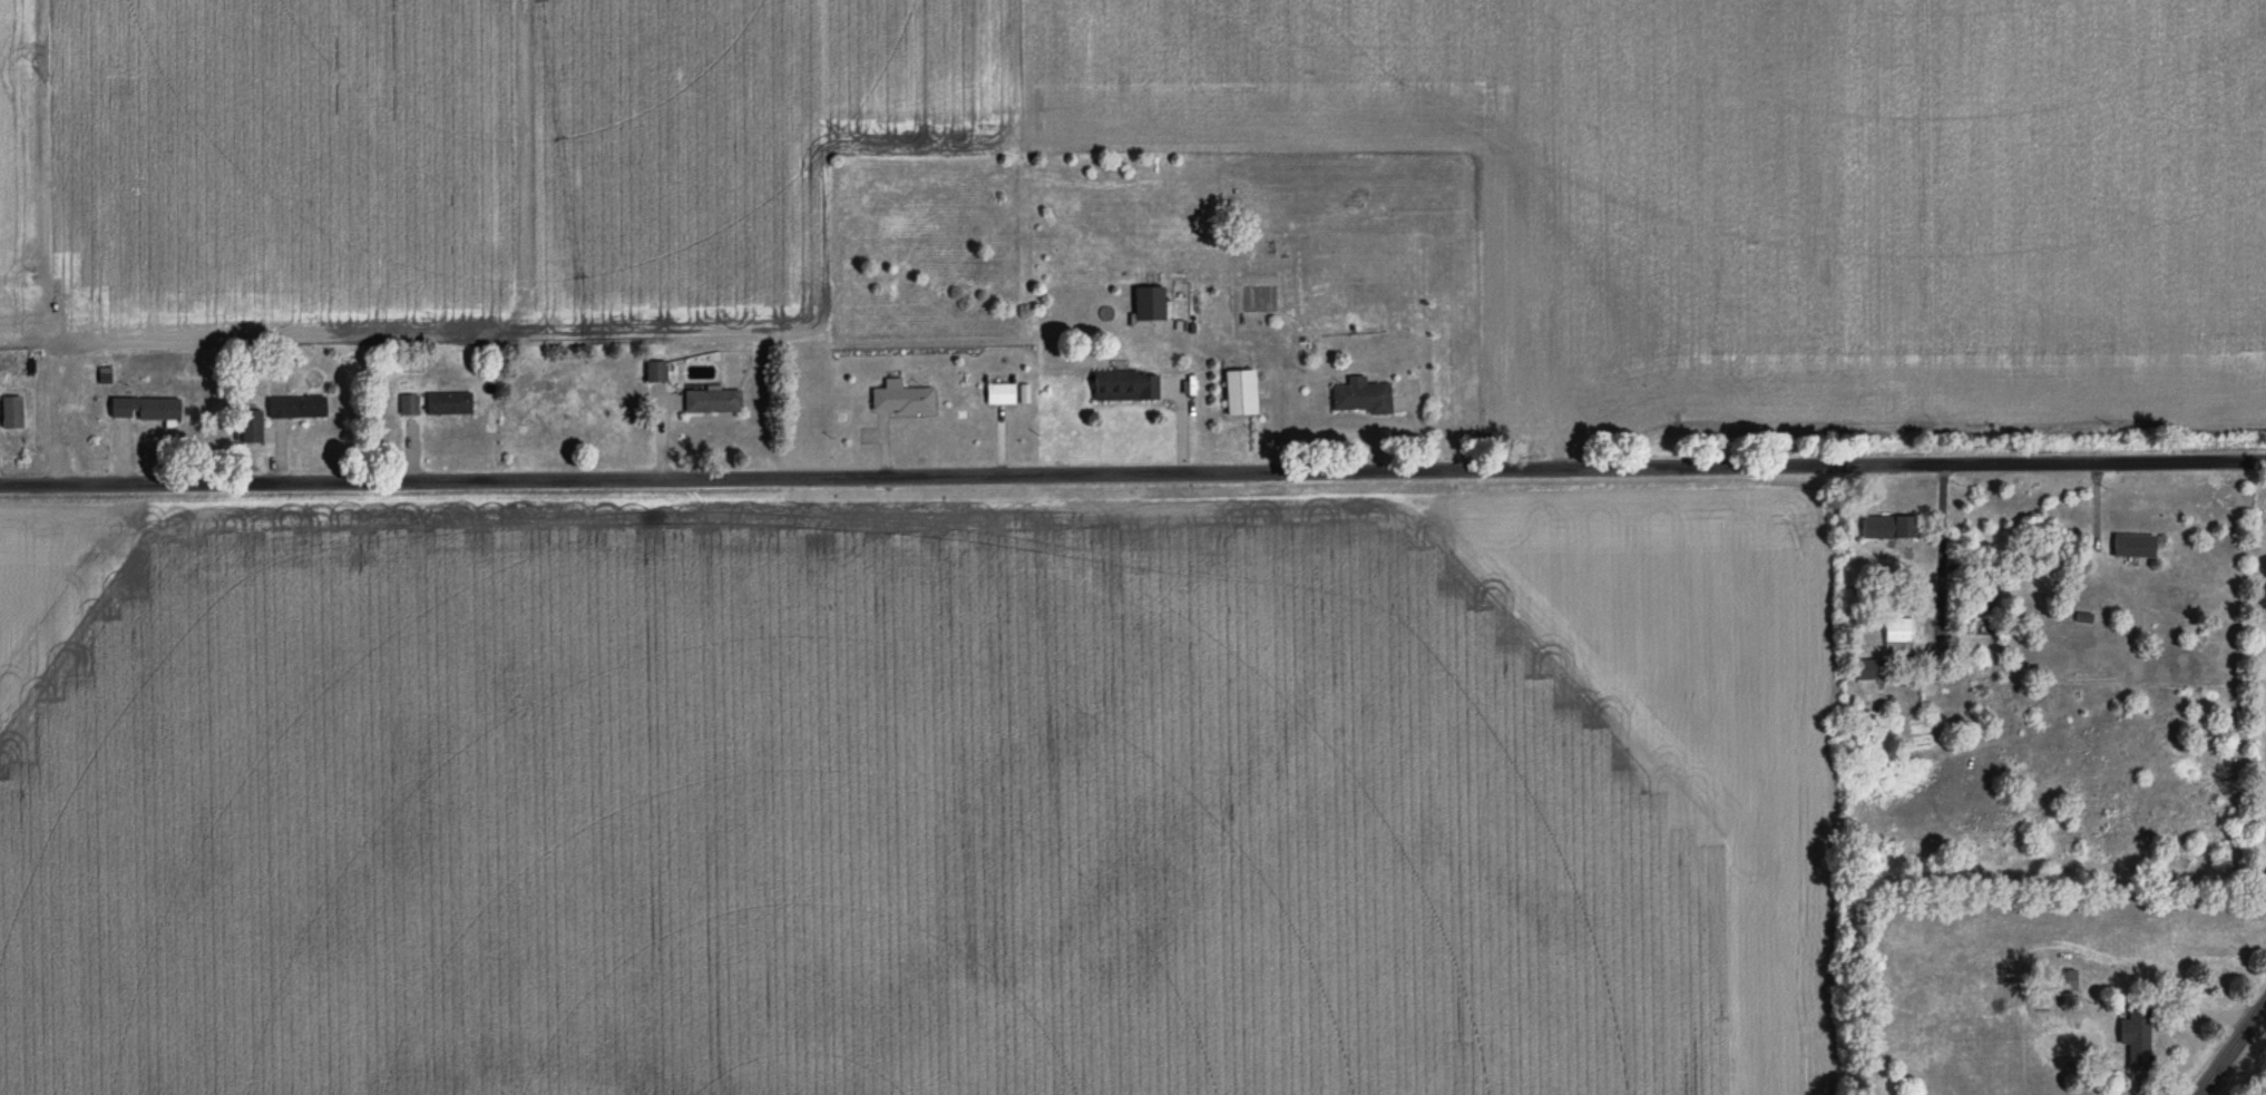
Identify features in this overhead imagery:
building: (1146, 306)
building: (654, 372)
building: (1123, 387)
building: (1239, 393)
building: (999, 394)
building: (1359, 397)
building: (900, 399)
building: (711, 401)
building: (448, 403)
building: (407, 405)
building: (295, 408)
building: (143, 410)
building: (10, 413)
building: (250, 427)
road: (1133, 475)
building: (1885, 527)
building: (1895, 636)
building: (1866, 669)
building: (2059, 981)
building: (2133, 1038)
road: (2230, 1045)

